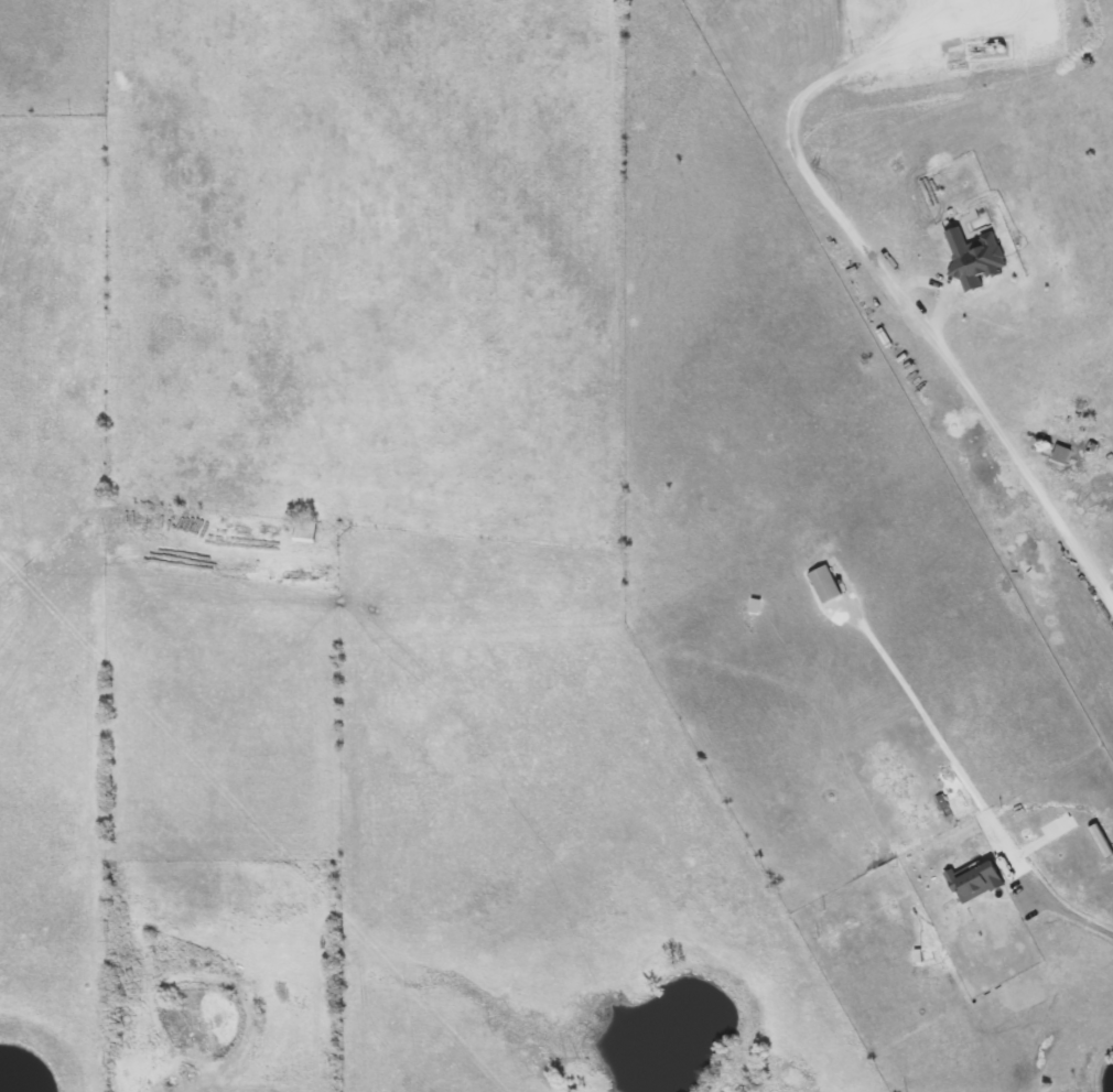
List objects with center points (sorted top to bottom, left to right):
building: (974, 257)
building: (1061, 454)
road: (1018, 462)
building: (305, 531)
building: (825, 584)
building: (976, 880)
road: (1065, 906)

